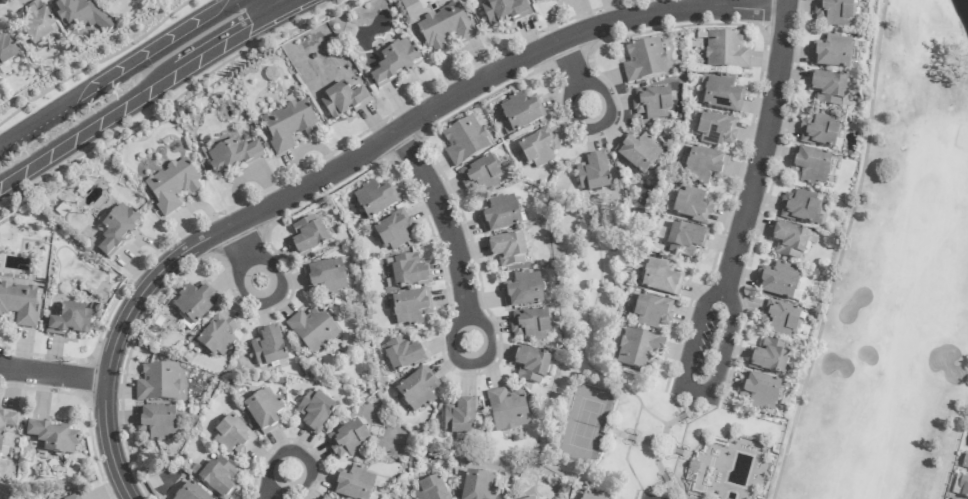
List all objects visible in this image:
building: (537, 0)
road: (274, 5)
road: (288, 5)
building: (502, 11)
building: (834, 12)
building: (80, 15)
building: (37, 23)
building: (445, 27)
road: (226, 39)
building: (725, 51)
building: (7, 53)
building: (831, 53)
road: (149, 60)
building: (644, 60)
building: (395, 62)
road: (573, 69)
building: (828, 89)
building: (722, 94)
building: (342, 101)
road: (603, 101)
building: (652, 103)
building: (521, 112)
road: (574, 114)
building: (288, 125)
road: (88, 126)
building: (716, 130)
building: (819, 131)
road: (26, 137)
road: (103, 141)
building: (464, 141)
building: (538, 148)
building: (638, 153)
building: (232, 156)
road: (354, 163)
building: (811, 165)
building: (704, 166)
building: (593, 173)
building: (481, 174)
building: (172, 185)
building: (375, 198)
road: (752, 200)
building: (692, 205)
building: (800, 207)
building: (500, 214)
road: (450, 225)
building: (117, 229)
building: (394, 230)
building: (308, 236)
building: (684, 239)
building: (792, 241)
road: (243, 248)
building: (508, 250)
road: (841, 252)
building: (409, 271)
road: (275, 272)
building: (326, 277)
building: (661, 277)
building: (778, 281)
park: (895, 283)
road: (245, 290)
building: (523, 290)
building: (195, 302)
building: (19, 303)
building: (411, 308)
building: (652, 310)
building: (780, 319)
building: (70, 321)
building: (530, 325)
building: (312, 330)
building: (216, 337)
road: (487, 341)
road: (455, 342)
building: (268, 348)
building: (639, 350)
building: (402, 355)
building: (770, 357)
building: (531, 365)
road: (53, 375)
park: (629, 380)
building: (158, 383)
building: (417, 390)
building: (760, 391)
building: (507, 410)
building: (264, 411)
building: (314, 411)
building: (459, 418)
building: (8, 422)
building: (156, 422)
park: (585, 424)
building: (233, 435)
building: (53, 437)
building: (348, 440)
road: (275, 462)
building: (965, 464)
building: (218, 477)
road: (301, 482)
building: (352, 484)
building: (478, 486)
building: (431, 489)
road: (272, 492)
building: (190, 493)
building: (594, 496)
building: (72, 497)
building: (322, 498)
building: (531, 498)

